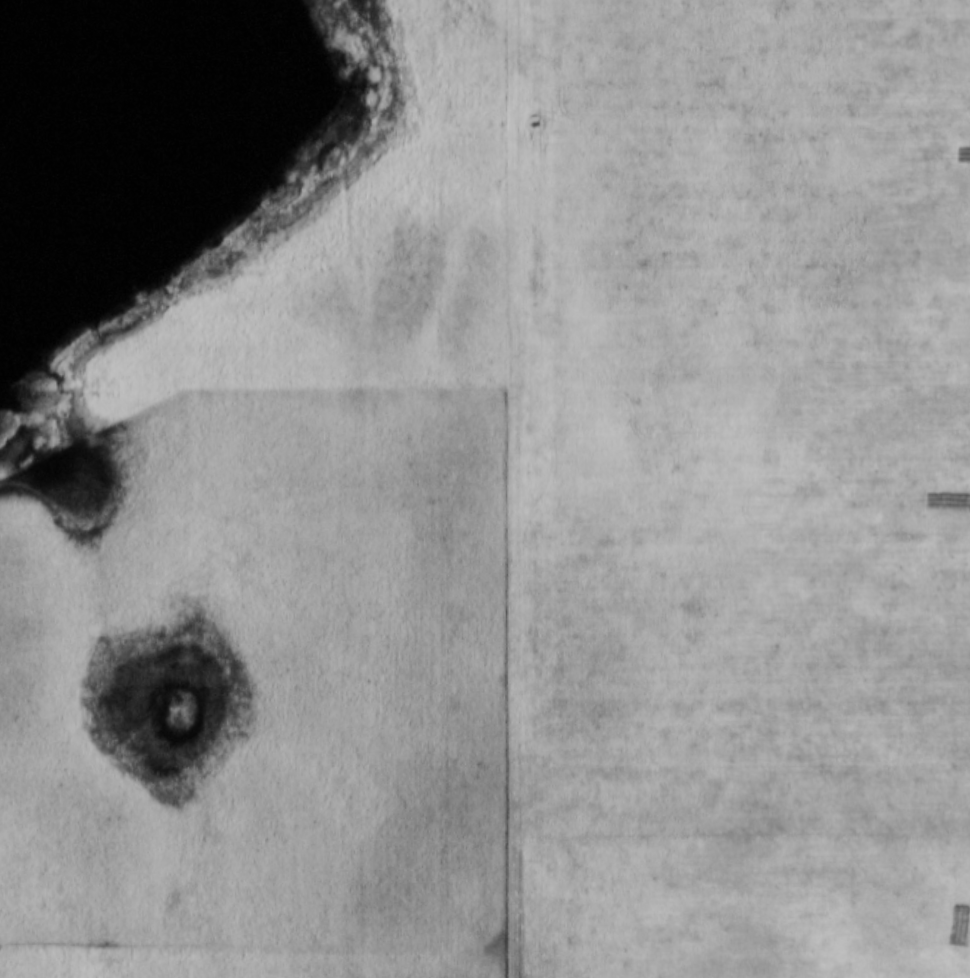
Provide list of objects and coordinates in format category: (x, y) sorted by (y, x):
road: (513, 488)

